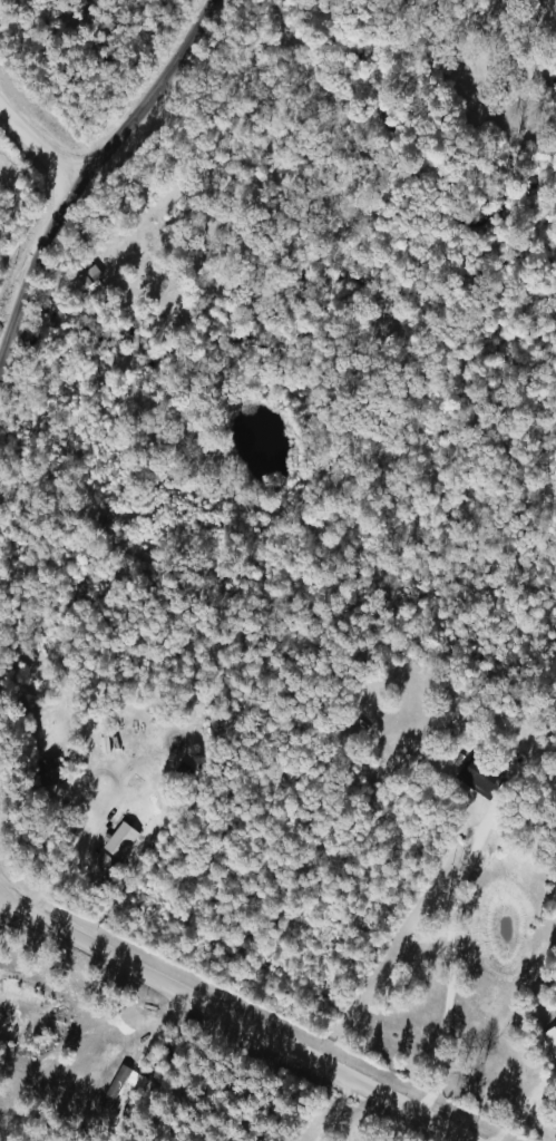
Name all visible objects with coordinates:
road: (33, 140)
road: (75, 167)
building: (85, 279)
building: (47, 772)
building: (477, 778)
building: (117, 840)
road: (448, 967)
road: (228, 1018)
building: (116, 1085)

